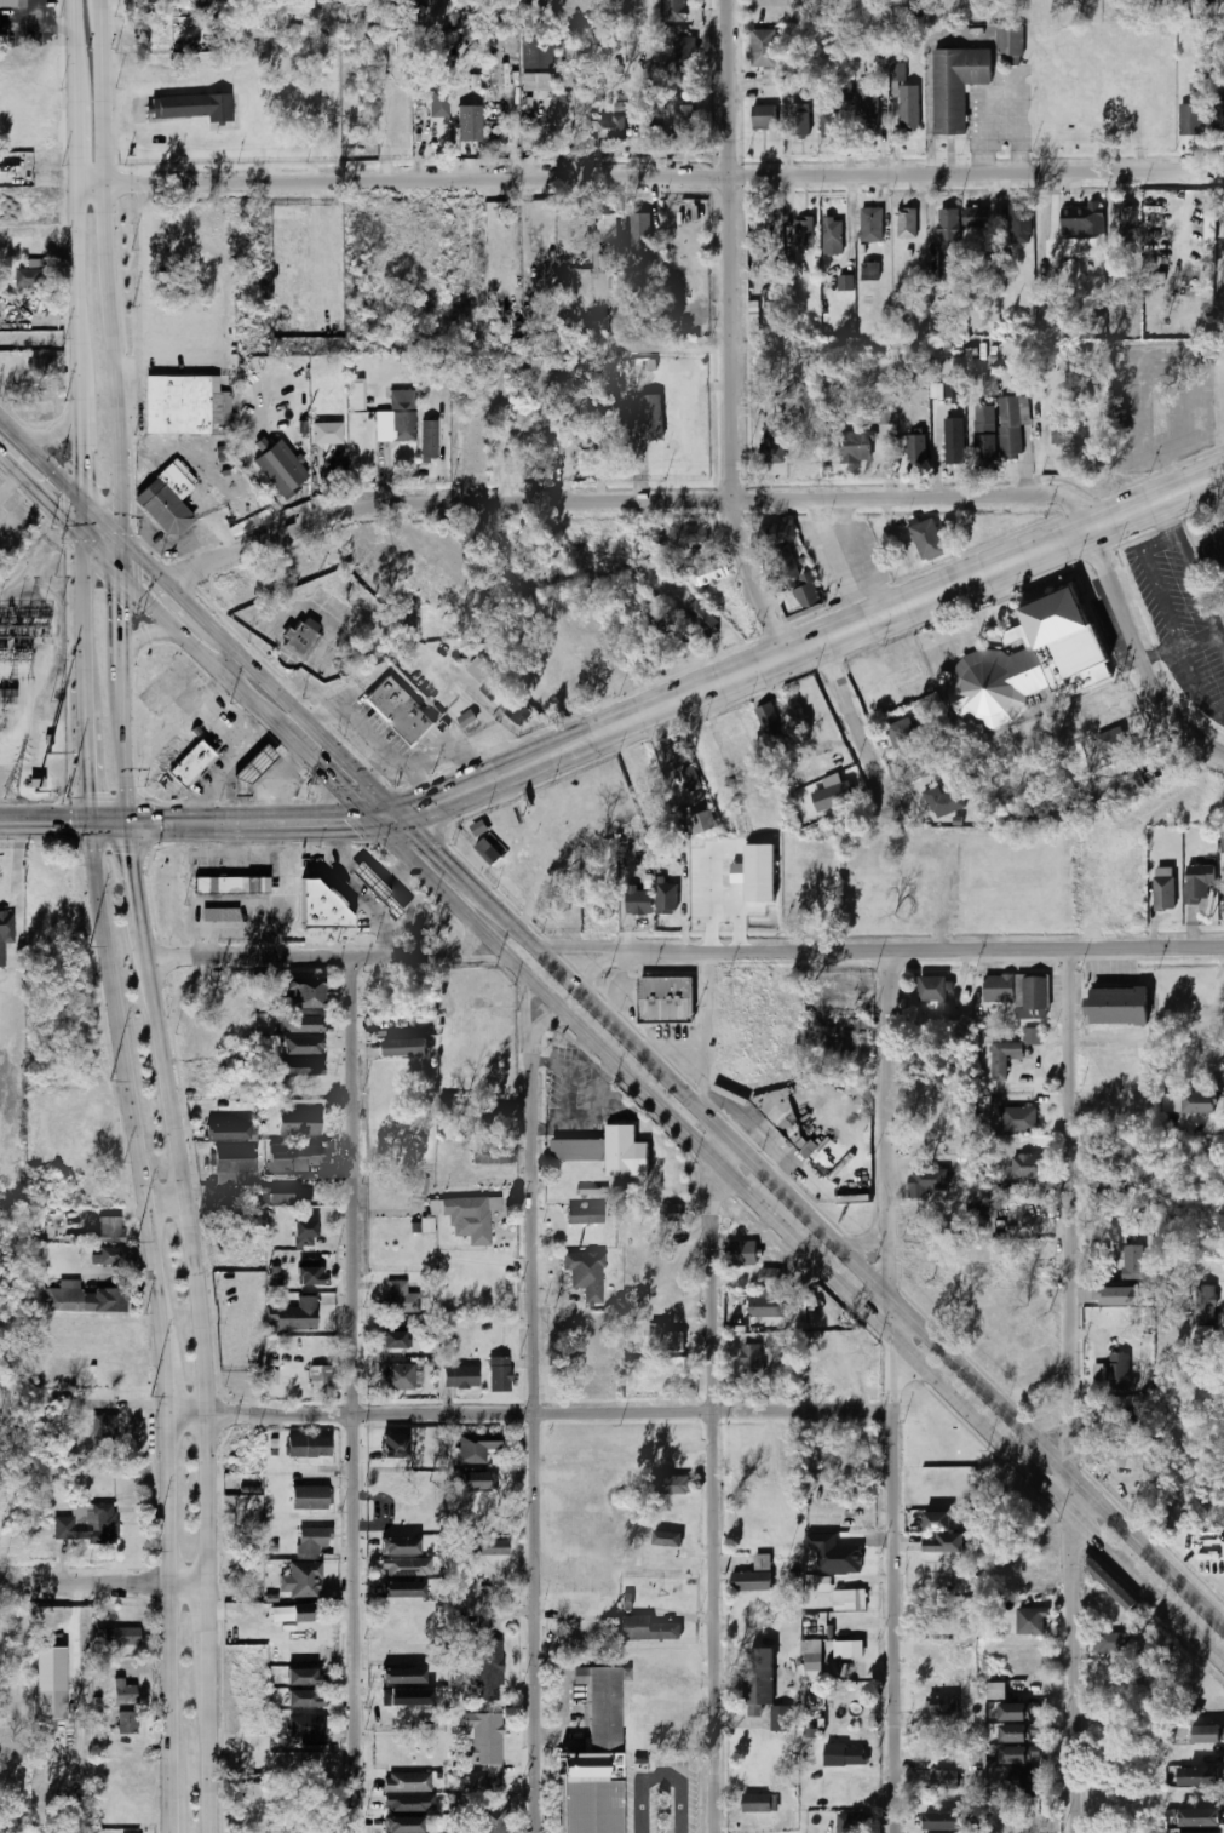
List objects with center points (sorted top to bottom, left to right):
building: (13, 2)
building: (196, 4)
building: (674, 11)
road: (40, 22)
building: (1008, 41)
building: (763, 47)
building: (684, 48)
building: (536, 52)
building: (896, 73)
building: (671, 74)
building: (955, 85)
building: (437, 102)
building: (194, 105)
building: (908, 109)
building: (867, 113)
building: (1218, 115)
building: (764, 118)
building: (833, 118)
building: (1190, 119)
building: (574, 120)
building: (799, 120)
building: (470, 122)
building: (683, 122)
building: (610, 128)
building: (655, 131)
road: (651, 177)
road: (80, 182)
building: (973, 217)
building: (1211, 220)
building: (1018, 222)
building: (1128, 222)
building: (907, 223)
building: (1082, 223)
building: (870, 224)
building: (600, 225)
building: (611, 228)
building: (638, 231)
building: (803, 231)
building: (832, 235)
building: (685, 239)
building: (947, 245)
building: (1080, 247)
road: (119, 263)
road: (111, 268)
building: (869, 270)
building: (24, 277)
building: (564, 281)
building: (845, 282)
building: (577, 326)
building: (754, 326)
road: (729, 333)
building: (973, 368)
building: (953, 389)
building: (356, 395)
building: (184, 403)
building: (650, 416)
building: (397, 417)
building: (1012, 426)
road: (59, 431)
road: (84, 431)
building: (1059, 431)
building: (324, 433)
building: (984, 433)
building: (953, 436)
building: (429, 442)
building: (772, 442)
building: (855, 447)
building: (915, 448)
building: (544, 453)
road: (41, 459)
traffic signals: (84, 470)
building: (274, 472)
road: (100, 493)
road: (41, 498)
building: (166, 500)
road: (632, 500)
road: (34, 505)
road: (67, 505)
traffic signals: (61, 516)
road: (85, 520)
building: (777, 532)
building: (688, 534)
building: (8, 535)
building: (927, 540)
building: (1212, 550)
road: (137, 551)
road: (160, 551)
road: (103, 559)
traffic signals: (145, 559)
road: (858, 559)
road: (834, 562)
road: (1004, 568)
building: (712, 572)
road: (1190, 574)
building: (512, 582)
building: (794, 583)
traffic signals: (122, 605)
road: (84, 606)
parking lot: (1184, 613)
building: (702, 617)
road: (121, 625)
building: (310, 625)
road: (976, 625)
road: (145, 634)
building: (298, 640)
road: (189, 642)
road: (1177, 643)
road: (1139, 654)
road: (231, 663)
building: (1035, 664)
building: (908, 674)
power substation: (31, 678)
building: (570, 682)
building: (914, 691)
building: (6, 697)
road: (69, 706)
road: (298, 708)
building: (1090, 710)
building: (400, 711)
building: (517, 711)
building: (467, 718)
building: (770, 723)
road: (856, 729)
building: (1075, 732)
building: (901, 733)
road: (594, 735)
road: (84, 746)
road: (271, 746)
building: (1088, 751)
road: (661, 757)
road: (314, 763)
building: (190, 764)
road: (226, 764)
road: (121, 766)
building: (682, 766)
building: (251, 772)
road: (278, 781)
traffic signals: (334, 784)
traffic signals: (84, 792)
building: (835, 795)
power tower: (10, 801)
building: (942, 801)
traffic signals: (426, 804)
road: (387, 817)
road: (103, 819)
traffic signals: (159, 819)
road: (189, 819)
road: (41, 820)
traffic signals: (67, 820)
road: (314, 820)
traffic signals: (354, 820)
building: (701, 823)
building: (1222, 842)
traffic signals: (437, 846)
building: (487, 852)
traffic signals: (128, 854)
road: (377, 865)
road: (462, 872)
building: (757, 872)
road: (131, 875)
building: (1197, 883)
building: (230, 884)
road: (351, 892)
building: (379, 892)
gas station: (379, 892)
building: (1163, 893)
building: (667, 897)
building: (638, 901)
building: (322, 906)
road: (724, 912)
building: (219, 915)
building: (5, 930)
road: (466, 946)
road: (919, 950)
road: (473, 953)
road: (577, 953)
road: (295, 956)
road: (594, 975)
building: (932, 989)
building: (304, 993)
building: (1017, 993)
building: (670, 999)
building: (1119, 1007)
road: (524, 1010)
road: (542, 1020)
building: (404, 1023)
building: (299, 1024)
road: (614, 1024)
road: (708, 1035)
building: (1030, 1036)
building: (301, 1047)
building: (406, 1048)
building: (1001, 1058)
road: (121, 1061)
building: (300, 1067)
building: (1202, 1102)
building: (1017, 1119)
building: (298, 1123)
building: (229, 1133)
road: (720, 1149)
building: (607, 1151)
building: (494, 1153)
building: (297, 1157)
building: (232, 1165)
building: (1025, 1167)
road: (1069, 1175)
building: (929, 1182)
building: (419, 1186)
building: (1108, 1197)
building: (283, 1198)
building: (216, 1201)
road: (162, 1203)
building: (984, 1209)
building: (670, 1214)
building: (586, 1215)
building: (467, 1218)
building: (109, 1230)
building: (305, 1235)
road: (797, 1242)
building: (741, 1253)
building: (114, 1258)
building: (1103, 1260)
building: (1133, 1264)
building: (585, 1274)
building: (309, 1276)
building: (770, 1277)
building: (1121, 1295)
building: (398, 1298)
building: (82, 1300)
building: (1206, 1304)
building: (765, 1307)
building: (297, 1316)
building: (395, 1340)
building: (776, 1340)
building: (672, 1342)
road: (162, 1358)
building: (749, 1358)
road: (966, 1369)
building: (1114, 1373)
building: (499, 1374)
building: (393, 1376)
building: (320, 1377)
building: (460, 1377)
road: (202, 1380)
road: (893, 1391)
road: (357, 1394)
road: (529, 1413)
road: (1050, 1422)
building: (103, 1433)
road: (533, 1436)
building: (395, 1447)
building: (473, 1447)
building: (308, 1448)
building: (1131, 1460)
building: (478, 1480)
building: (673, 1485)
road: (713, 1495)
building: (309, 1499)
building: (936, 1523)
building: (82, 1525)
building: (663, 1539)
building: (311, 1541)
building: (942, 1545)
building: (398, 1546)
building: (481, 1548)
building: (404, 1568)
building: (753, 1576)
building: (303, 1580)
road: (100, 1581)
building: (823, 1583)
building: (1111, 1585)
building: (942, 1586)
building: (401, 1589)
building: (850, 1599)
building: (300, 1611)
road: (1068, 1616)
building: (1030, 1621)
road: (166, 1623)
building: (647, 1629)
building: (120, 1636)
building: (1113, 1643)
building: (849, 1649)
building: (812, 1660)
building: (487, 1671)
building: (402, 1676)
building: (305, 1677)
building: (51, 1683)
building: (763, 1686)
building: (123, 1691)
building: (995, 1691)
building: (305, 1699)
building: (942, 1705)
building: (1018, 1712)
building: (125, 1722)
building: (306, 1730)
building: (1018, 1734)
building: (1206, 1734)
building: (482, 1736)
building: (845, 1754)
building: (1017, 1755)
building: (594, 1762)
building: (493, 1771)
building: (1197, 1776)
building: (944, 1780)
building: (406, 1782)
road: (657, 1782)
building: (1025, 1783)
building: (252, 1789)
building: (408, 1803)
building: (759, 1803)
building: (1200, 1818)
building: (490, 1821)
building: (944, 1821)
building: (851, 1822)
building: (403, 1825)
building: (1213, 1832)

